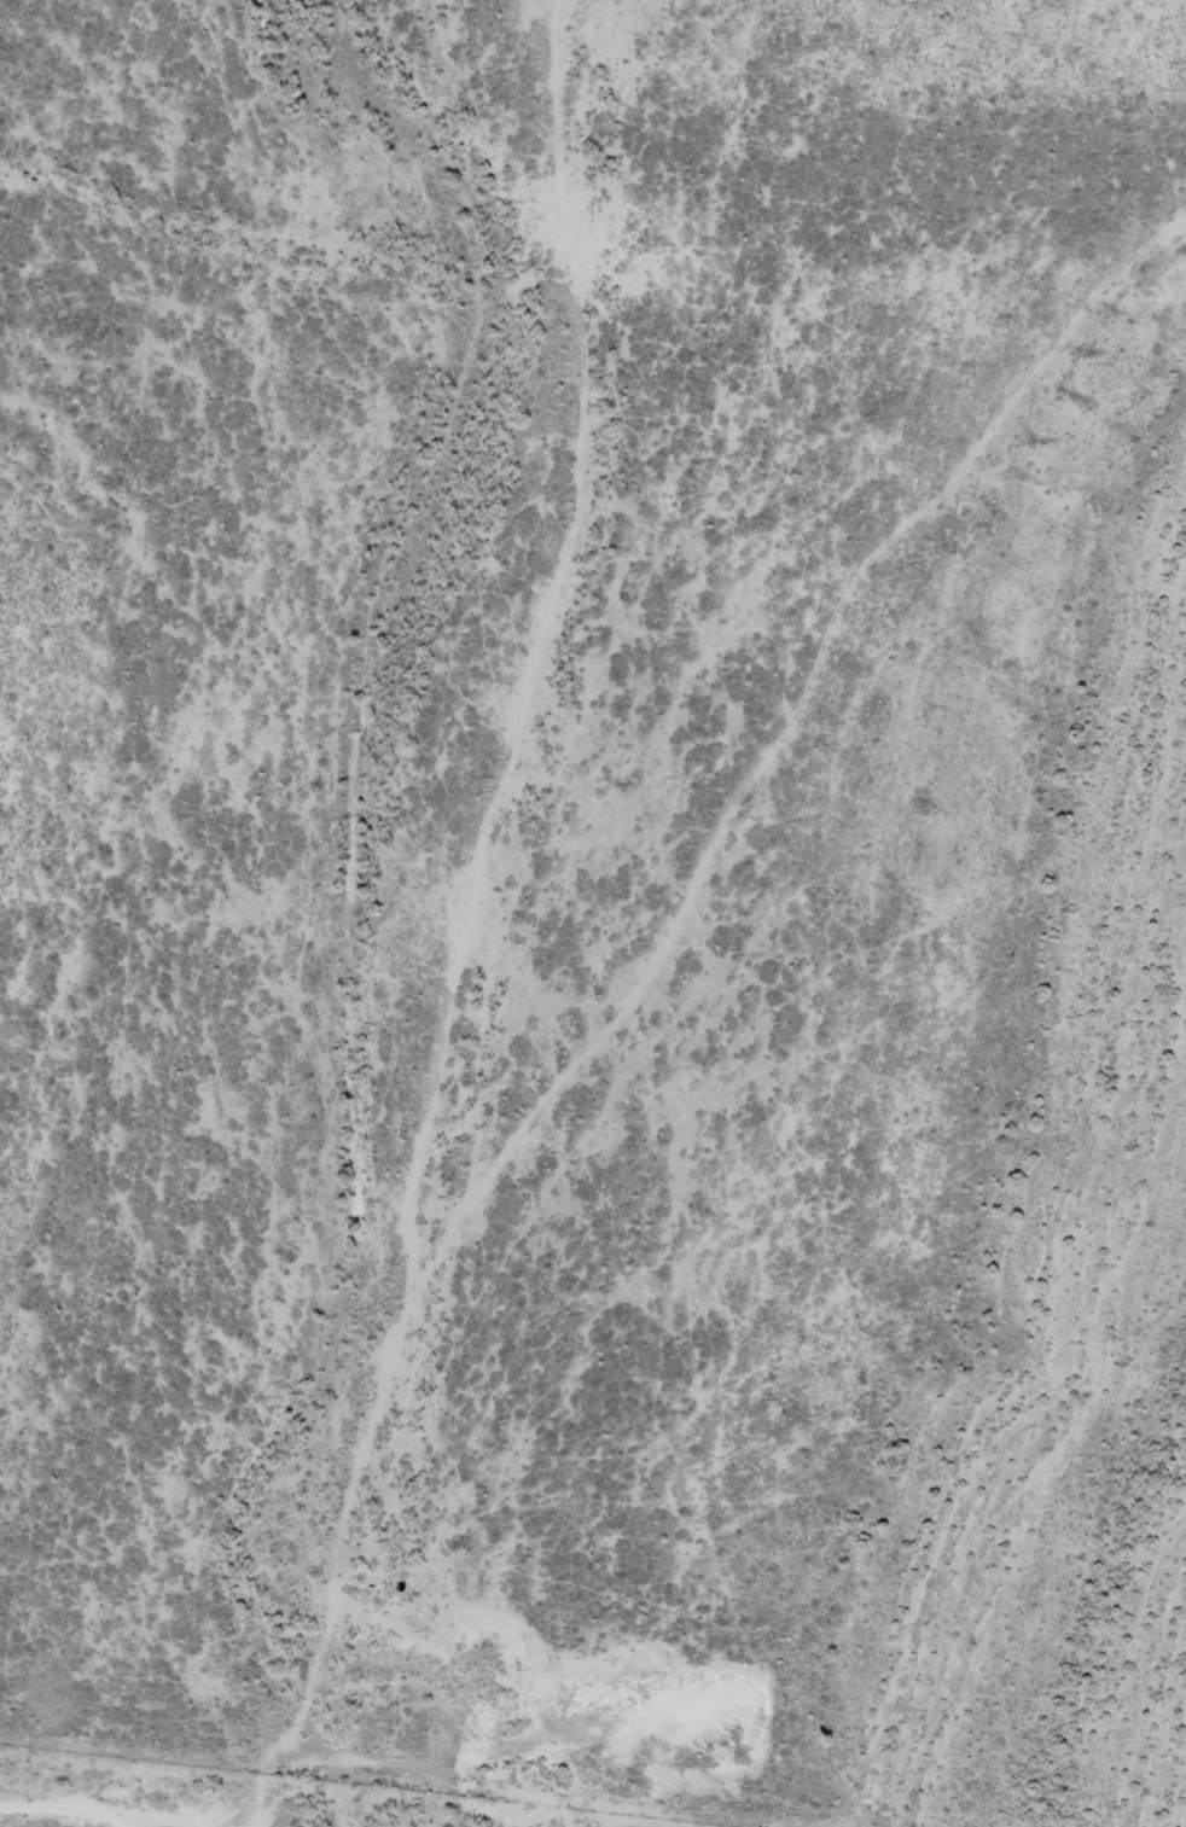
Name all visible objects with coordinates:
road: (292, 1790)
road: (133, 1822)

